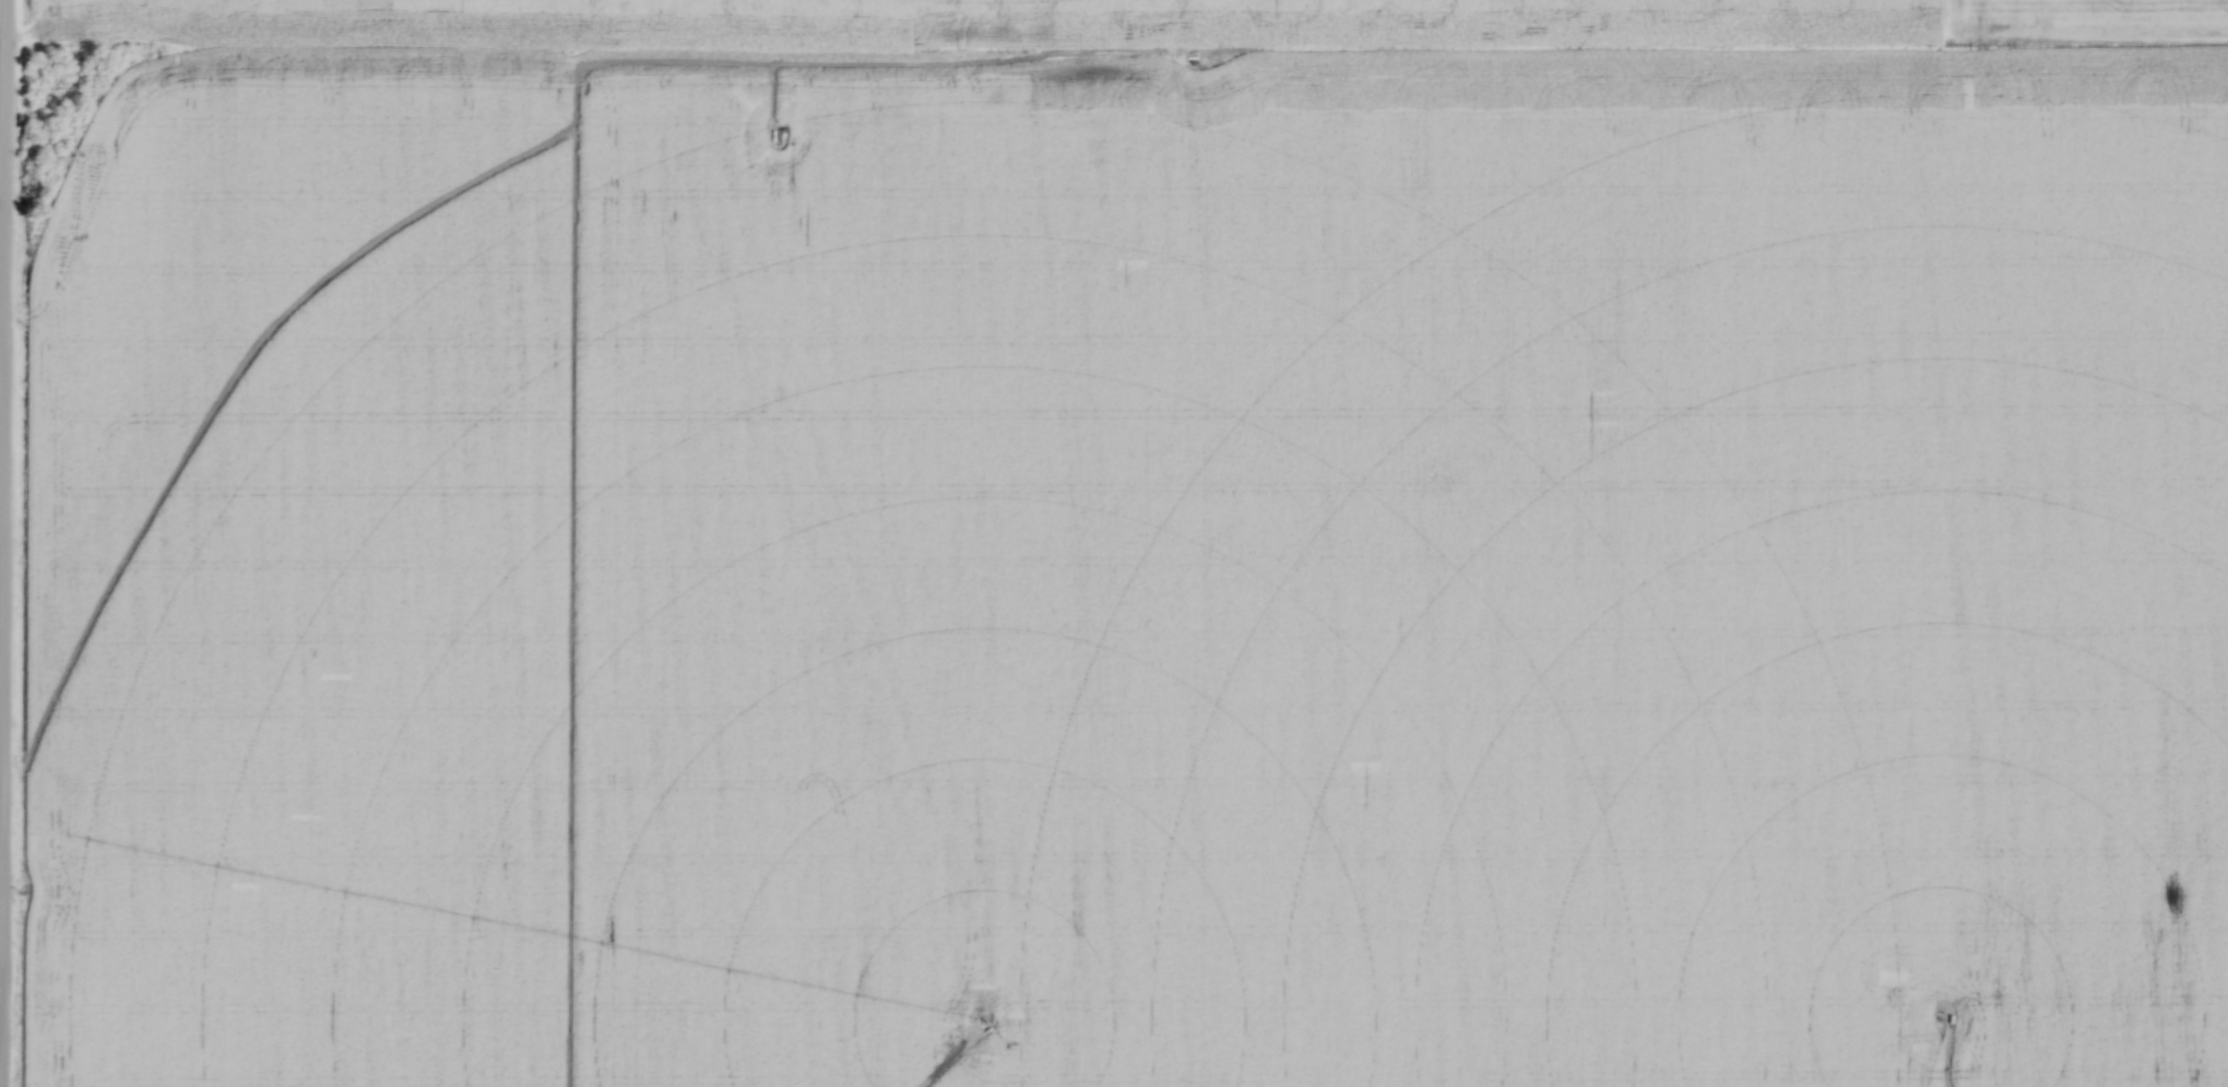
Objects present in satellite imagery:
road: (3, 531)
road: (2, 831)
road: (0, 1015)

